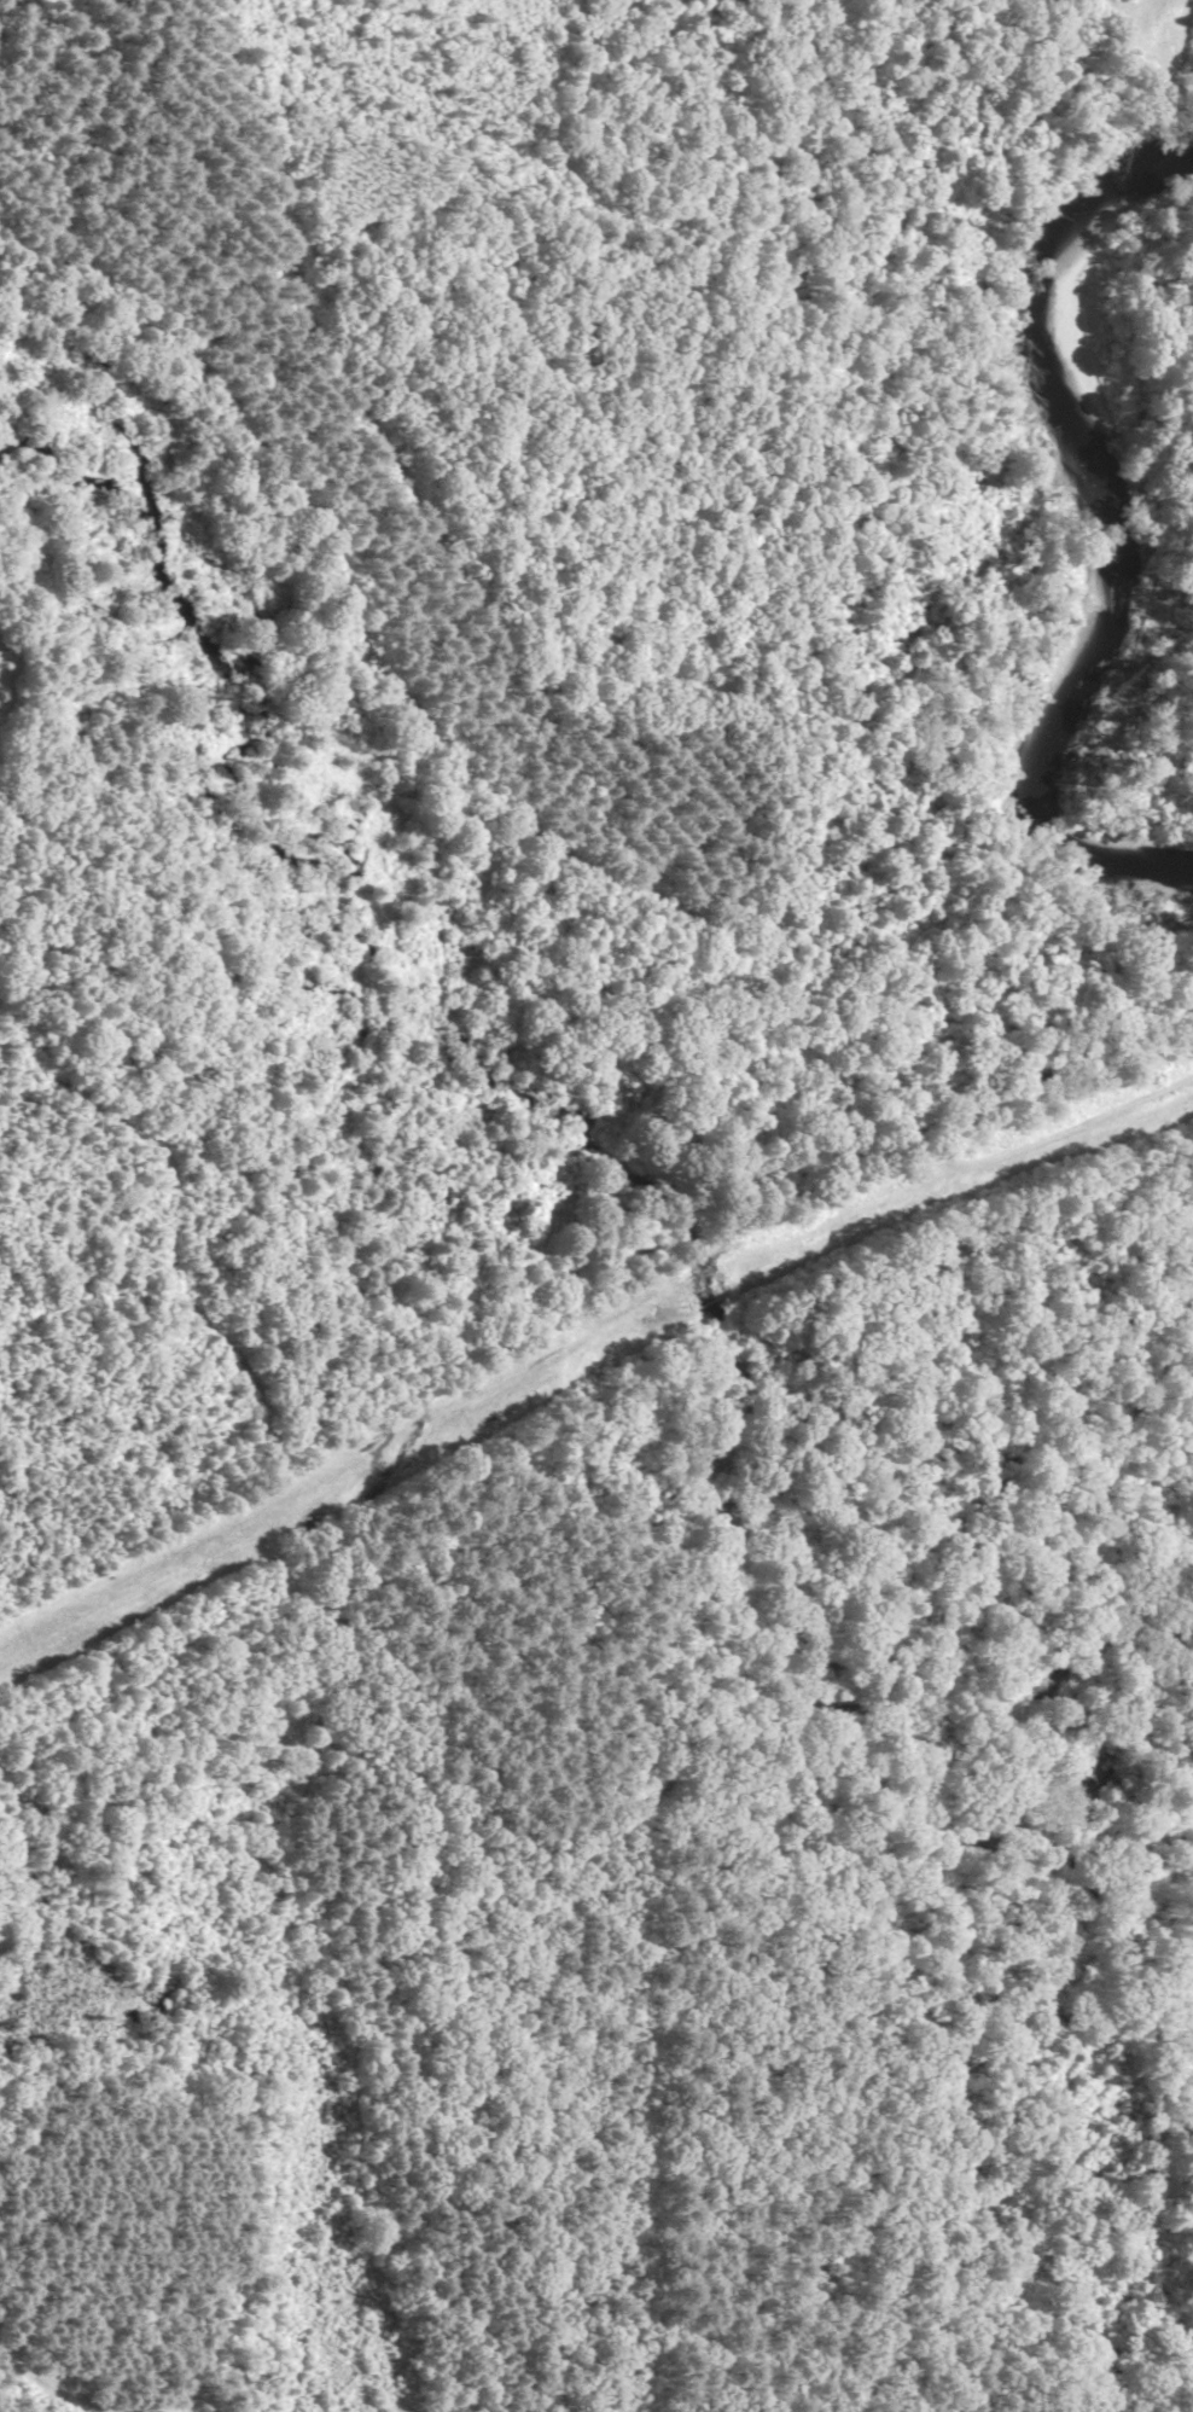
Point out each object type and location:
river: (1117, 542)
road: (417, 710)

